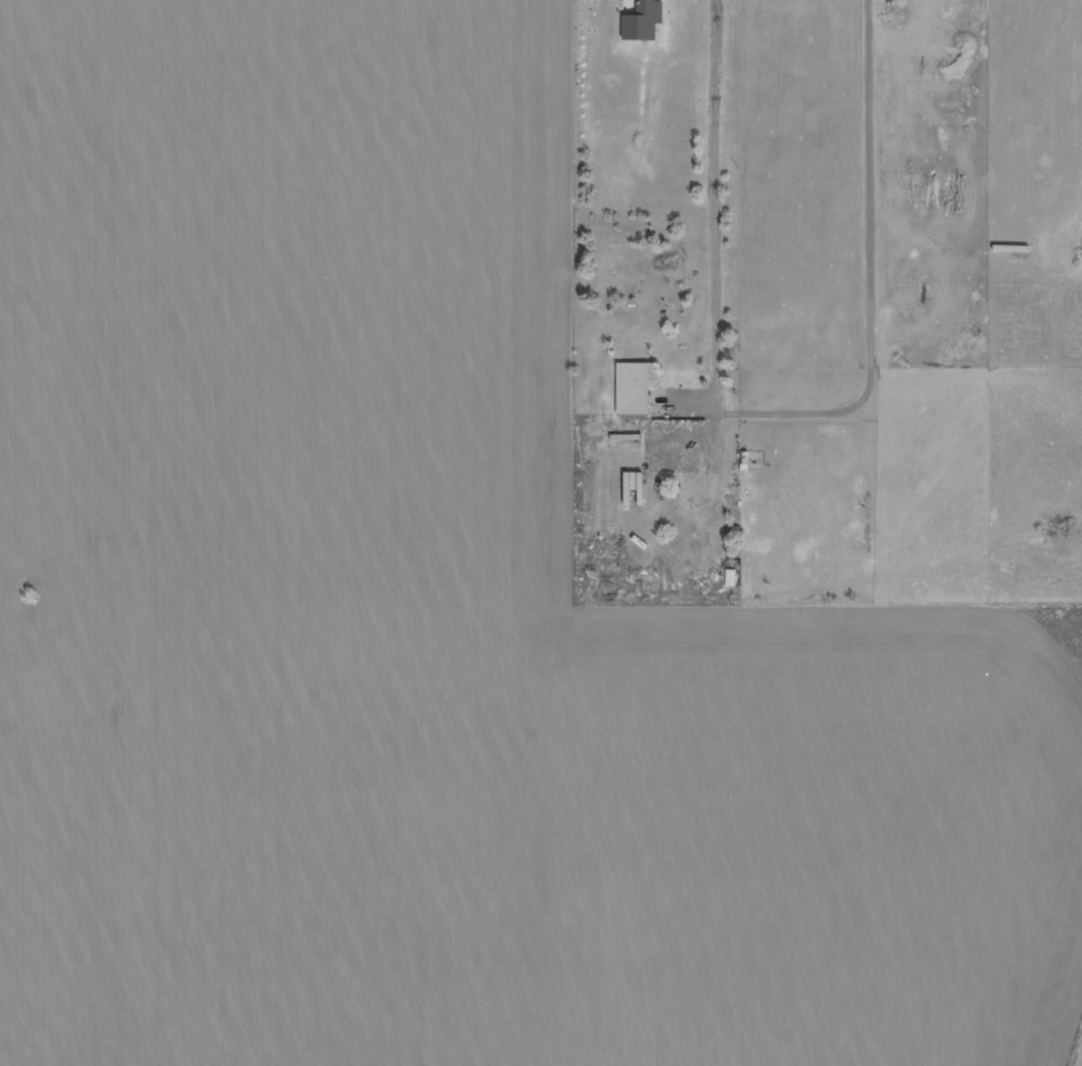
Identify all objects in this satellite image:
building: (643, 21)
building: (636, 388)

